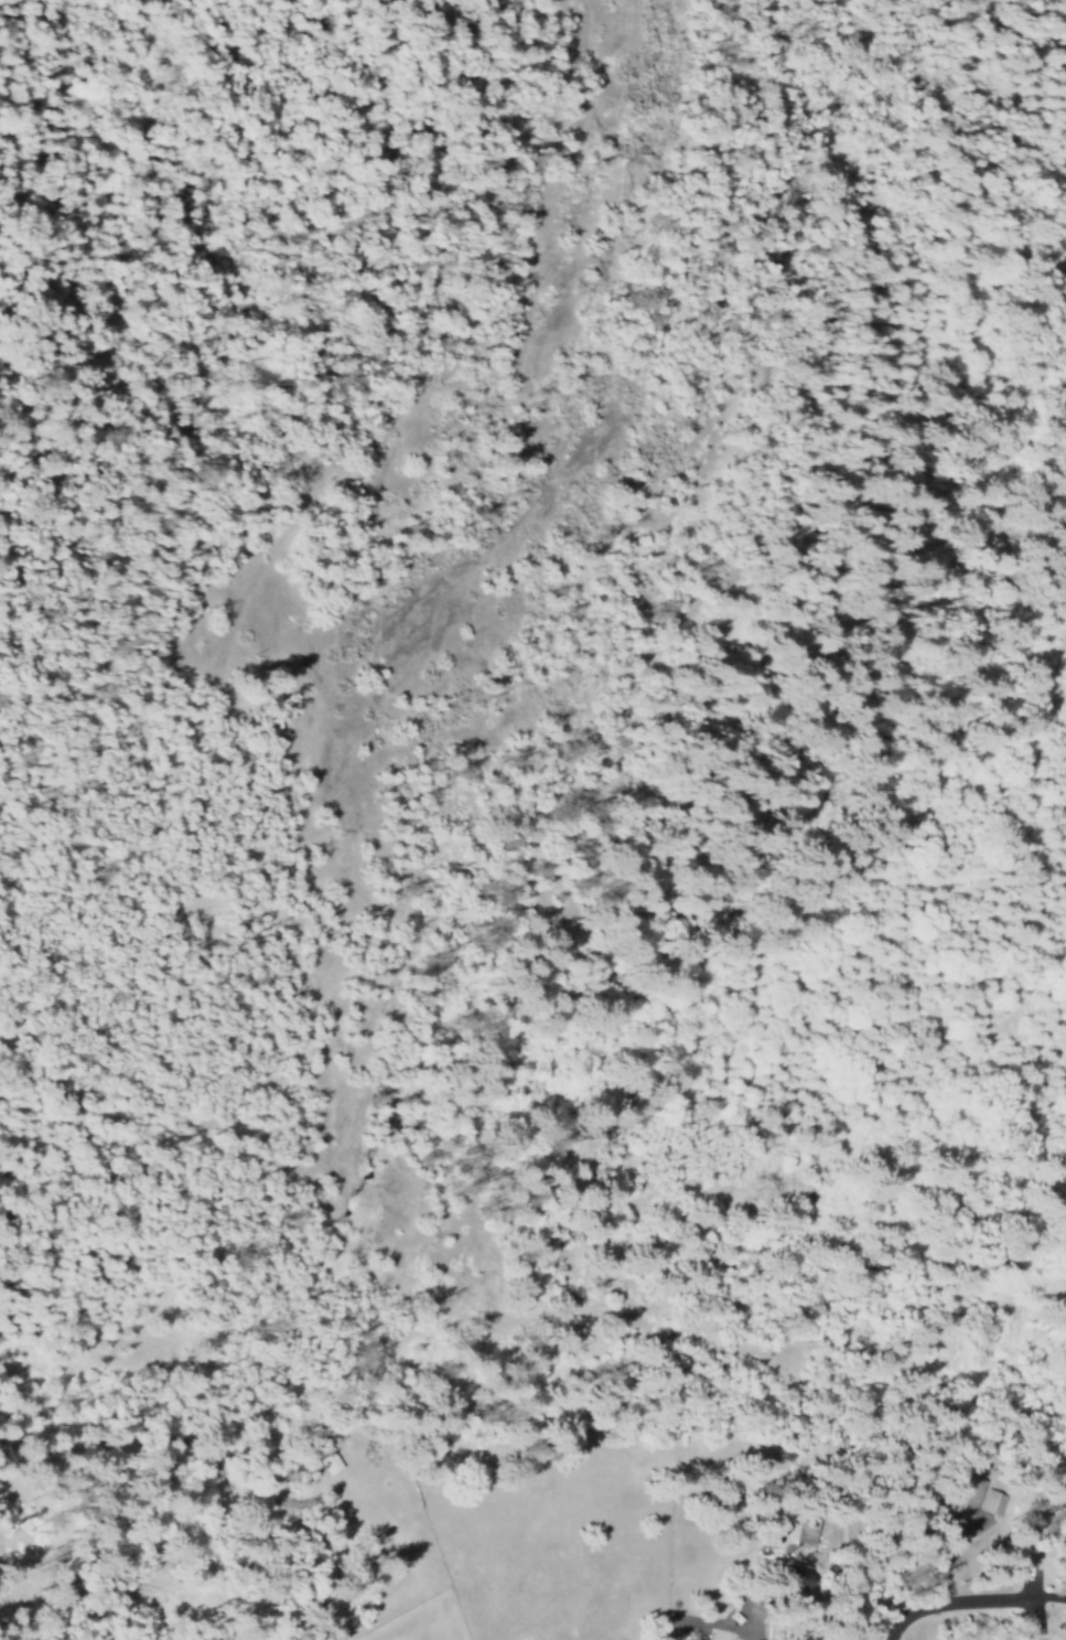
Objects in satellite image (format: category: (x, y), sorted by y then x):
building: (326, 1460)
building: (959, 1493)
building: (989, 1502)
road: (967, 1603)

